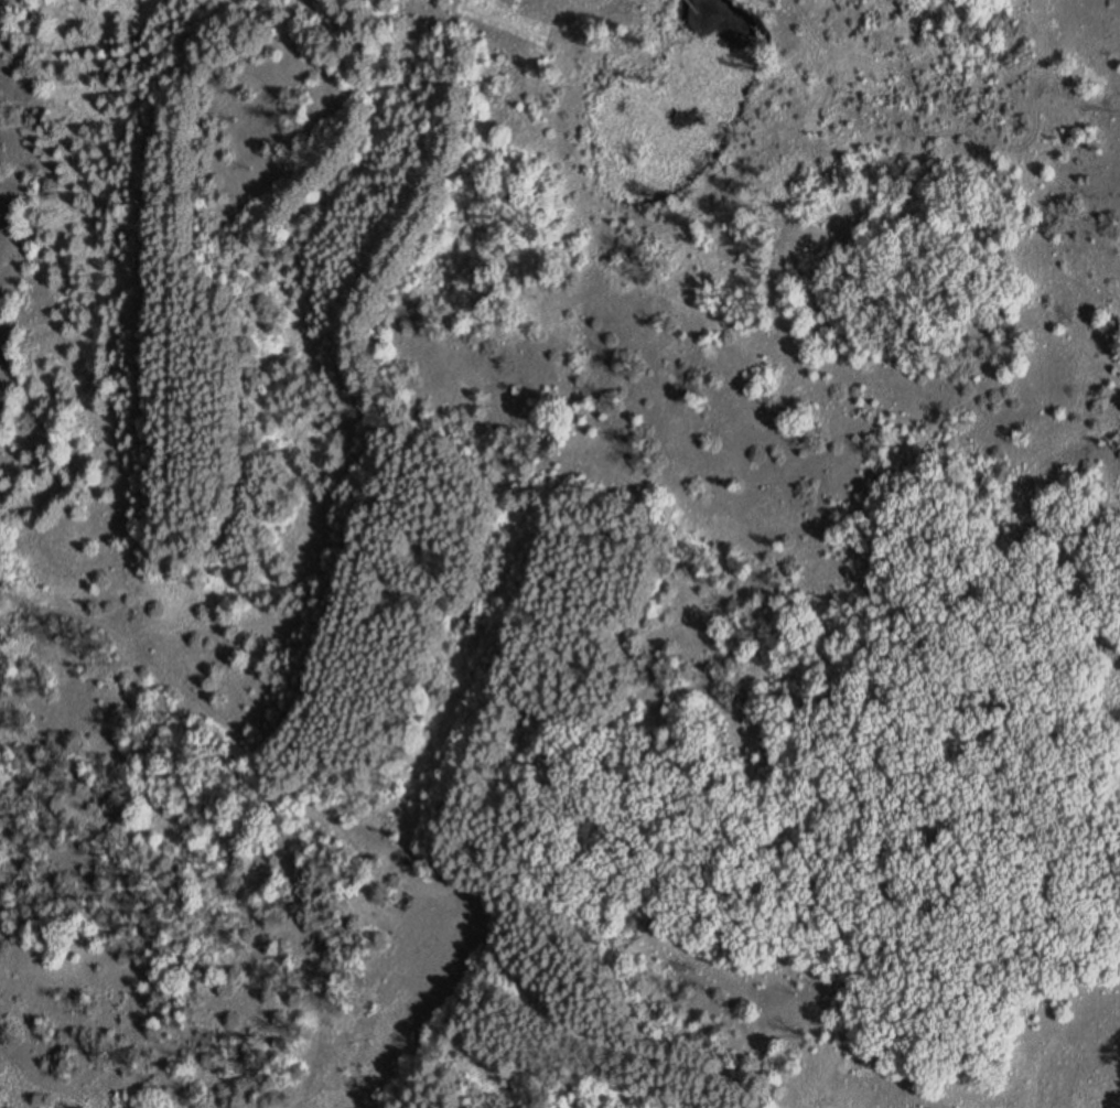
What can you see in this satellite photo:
building: (353, 889)

